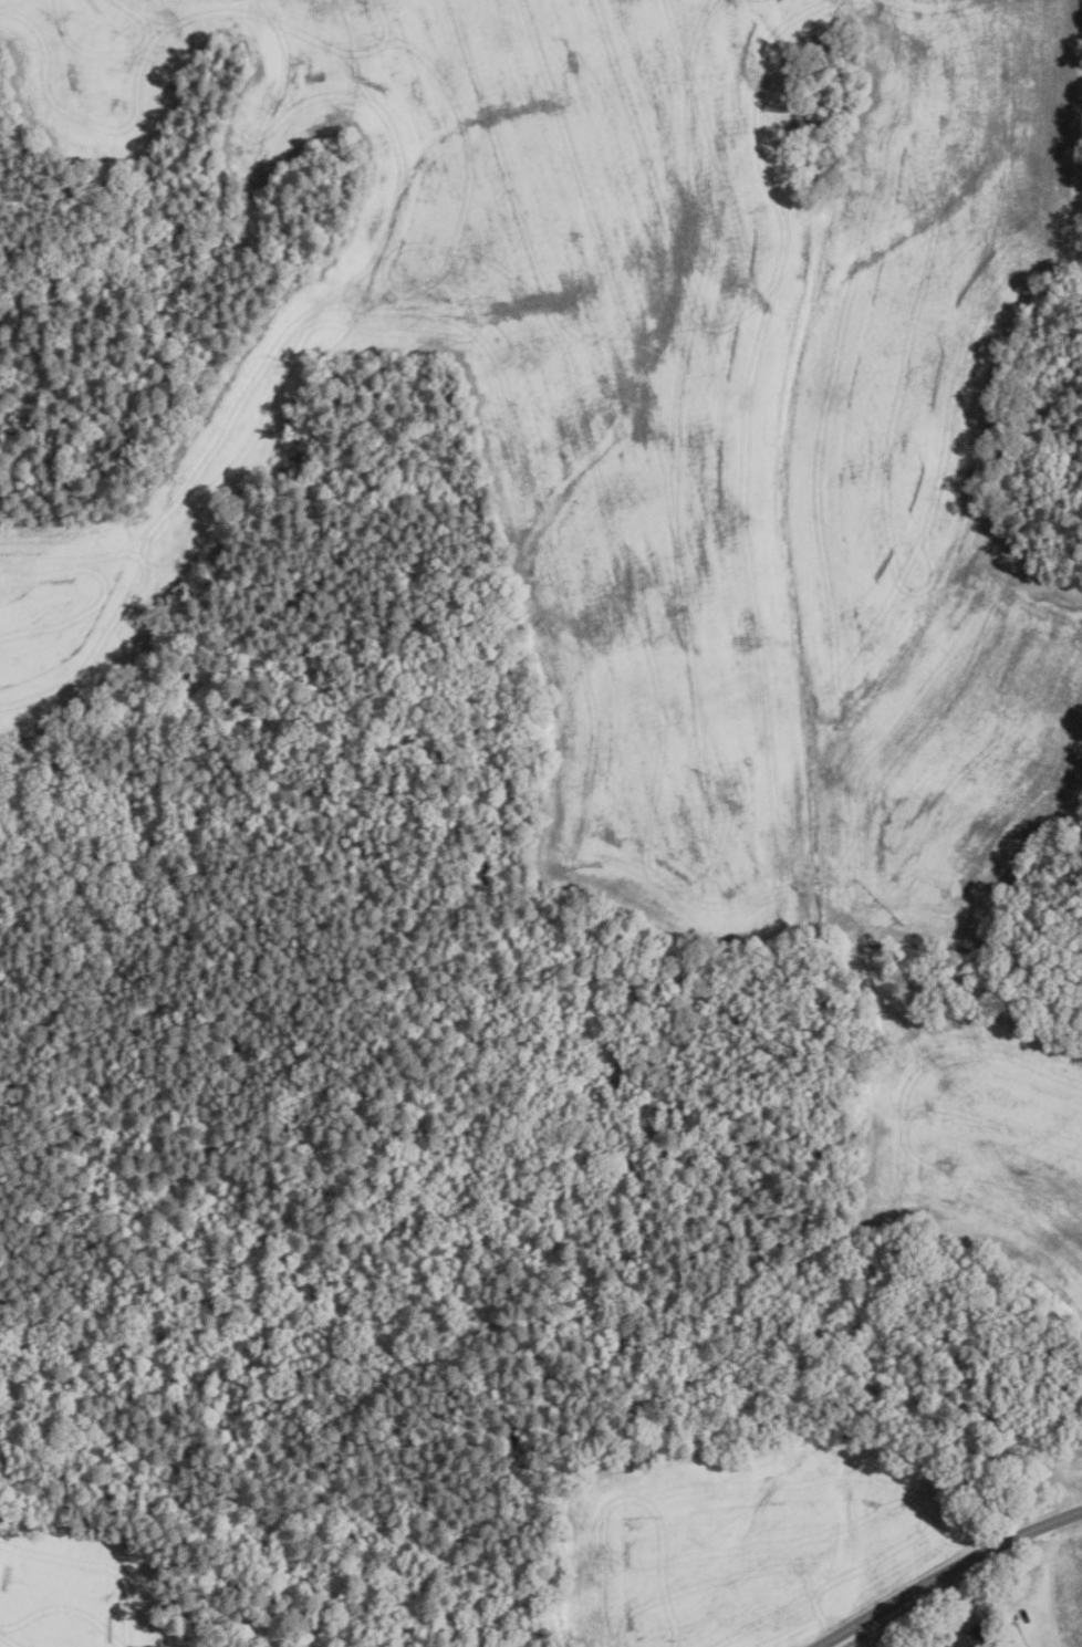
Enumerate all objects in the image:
road: (947, 1571)
building: (966, 1638)

